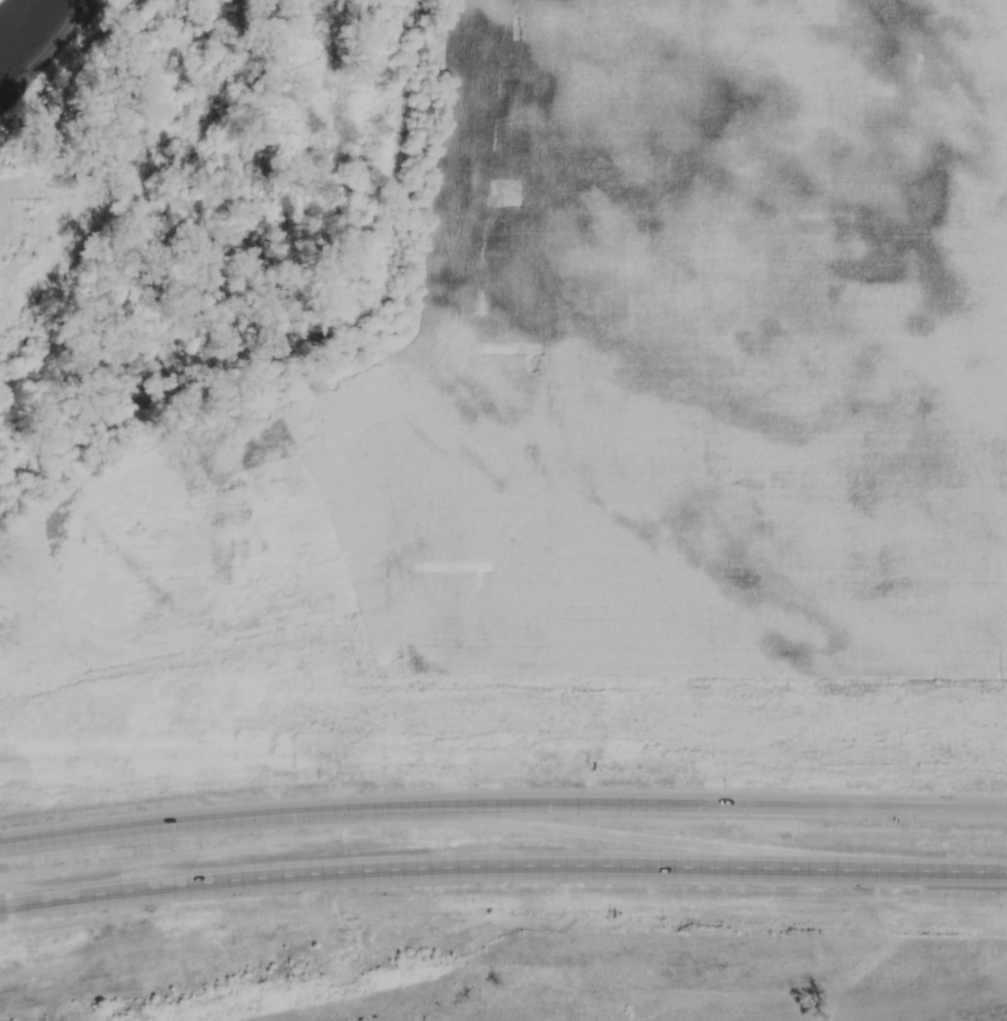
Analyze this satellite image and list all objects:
road: (502, 805)
road: (502, 866)

